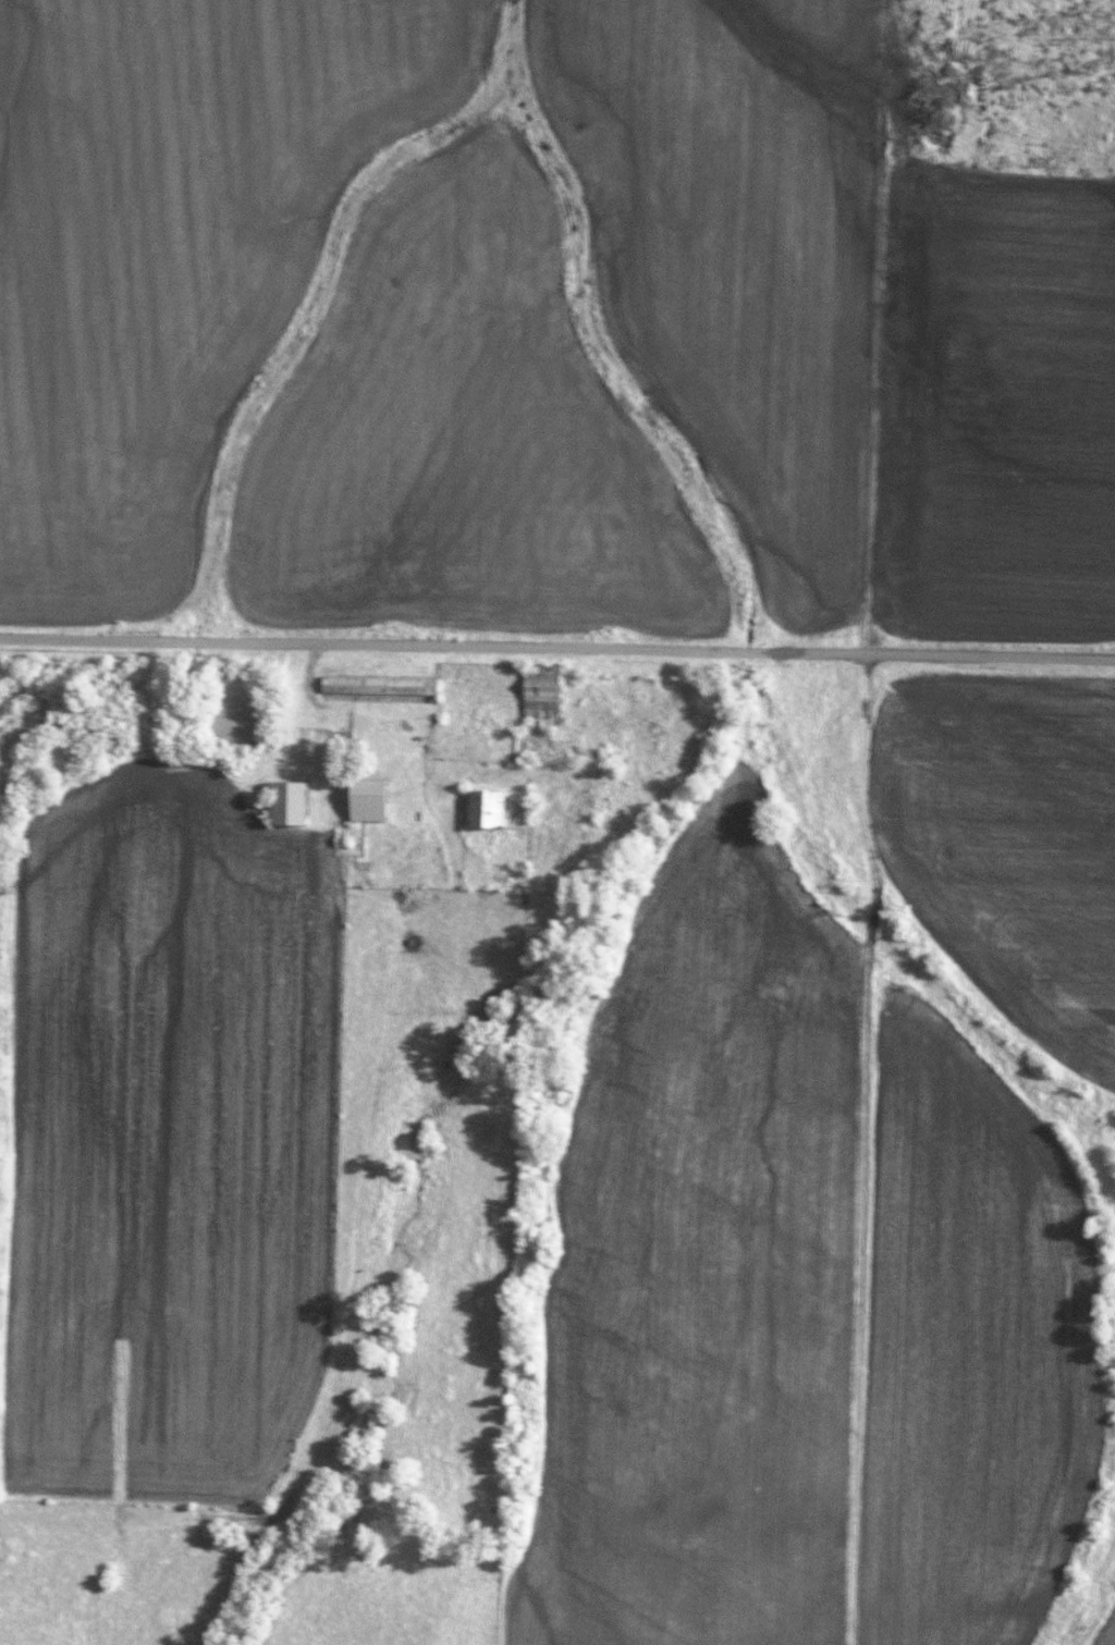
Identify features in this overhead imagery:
road: (556, 648)
building: (377, 685)
building: (539, 689)
building: (366, 800)
building: (287, 802)
building: (483, 809)

